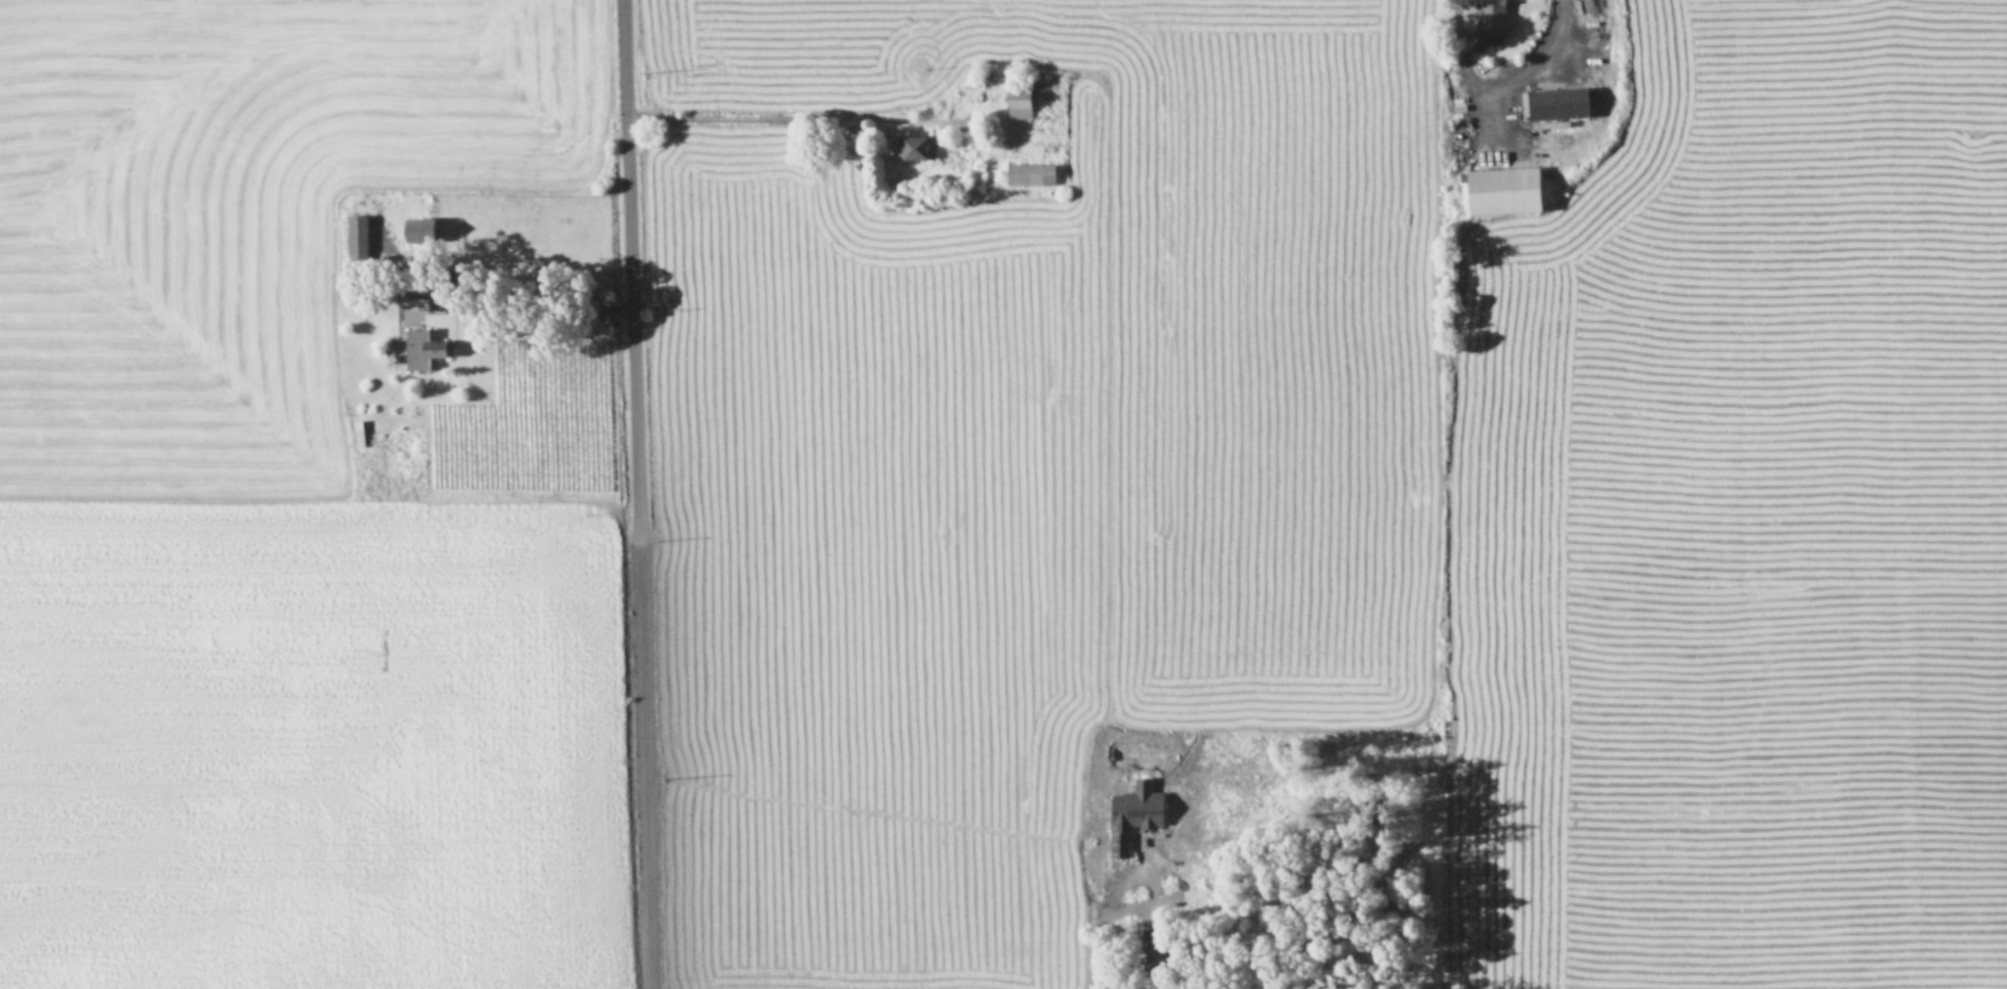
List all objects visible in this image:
building: (1489, 20)
road: (1500, 87)
building: (1016, 102)
road: (790, 116)
building: (914, 145)
building: (1028, 172)
building: (1501, 189)
building: (414, 228)
building: (354, 234)
road: (628, 271)
building: (415, 296)
road: (557, 309)
building: (423, 347)
crop: (1003, 494)
road: (643, 766)
building: (1132, 812)
road: (1096, 924)

